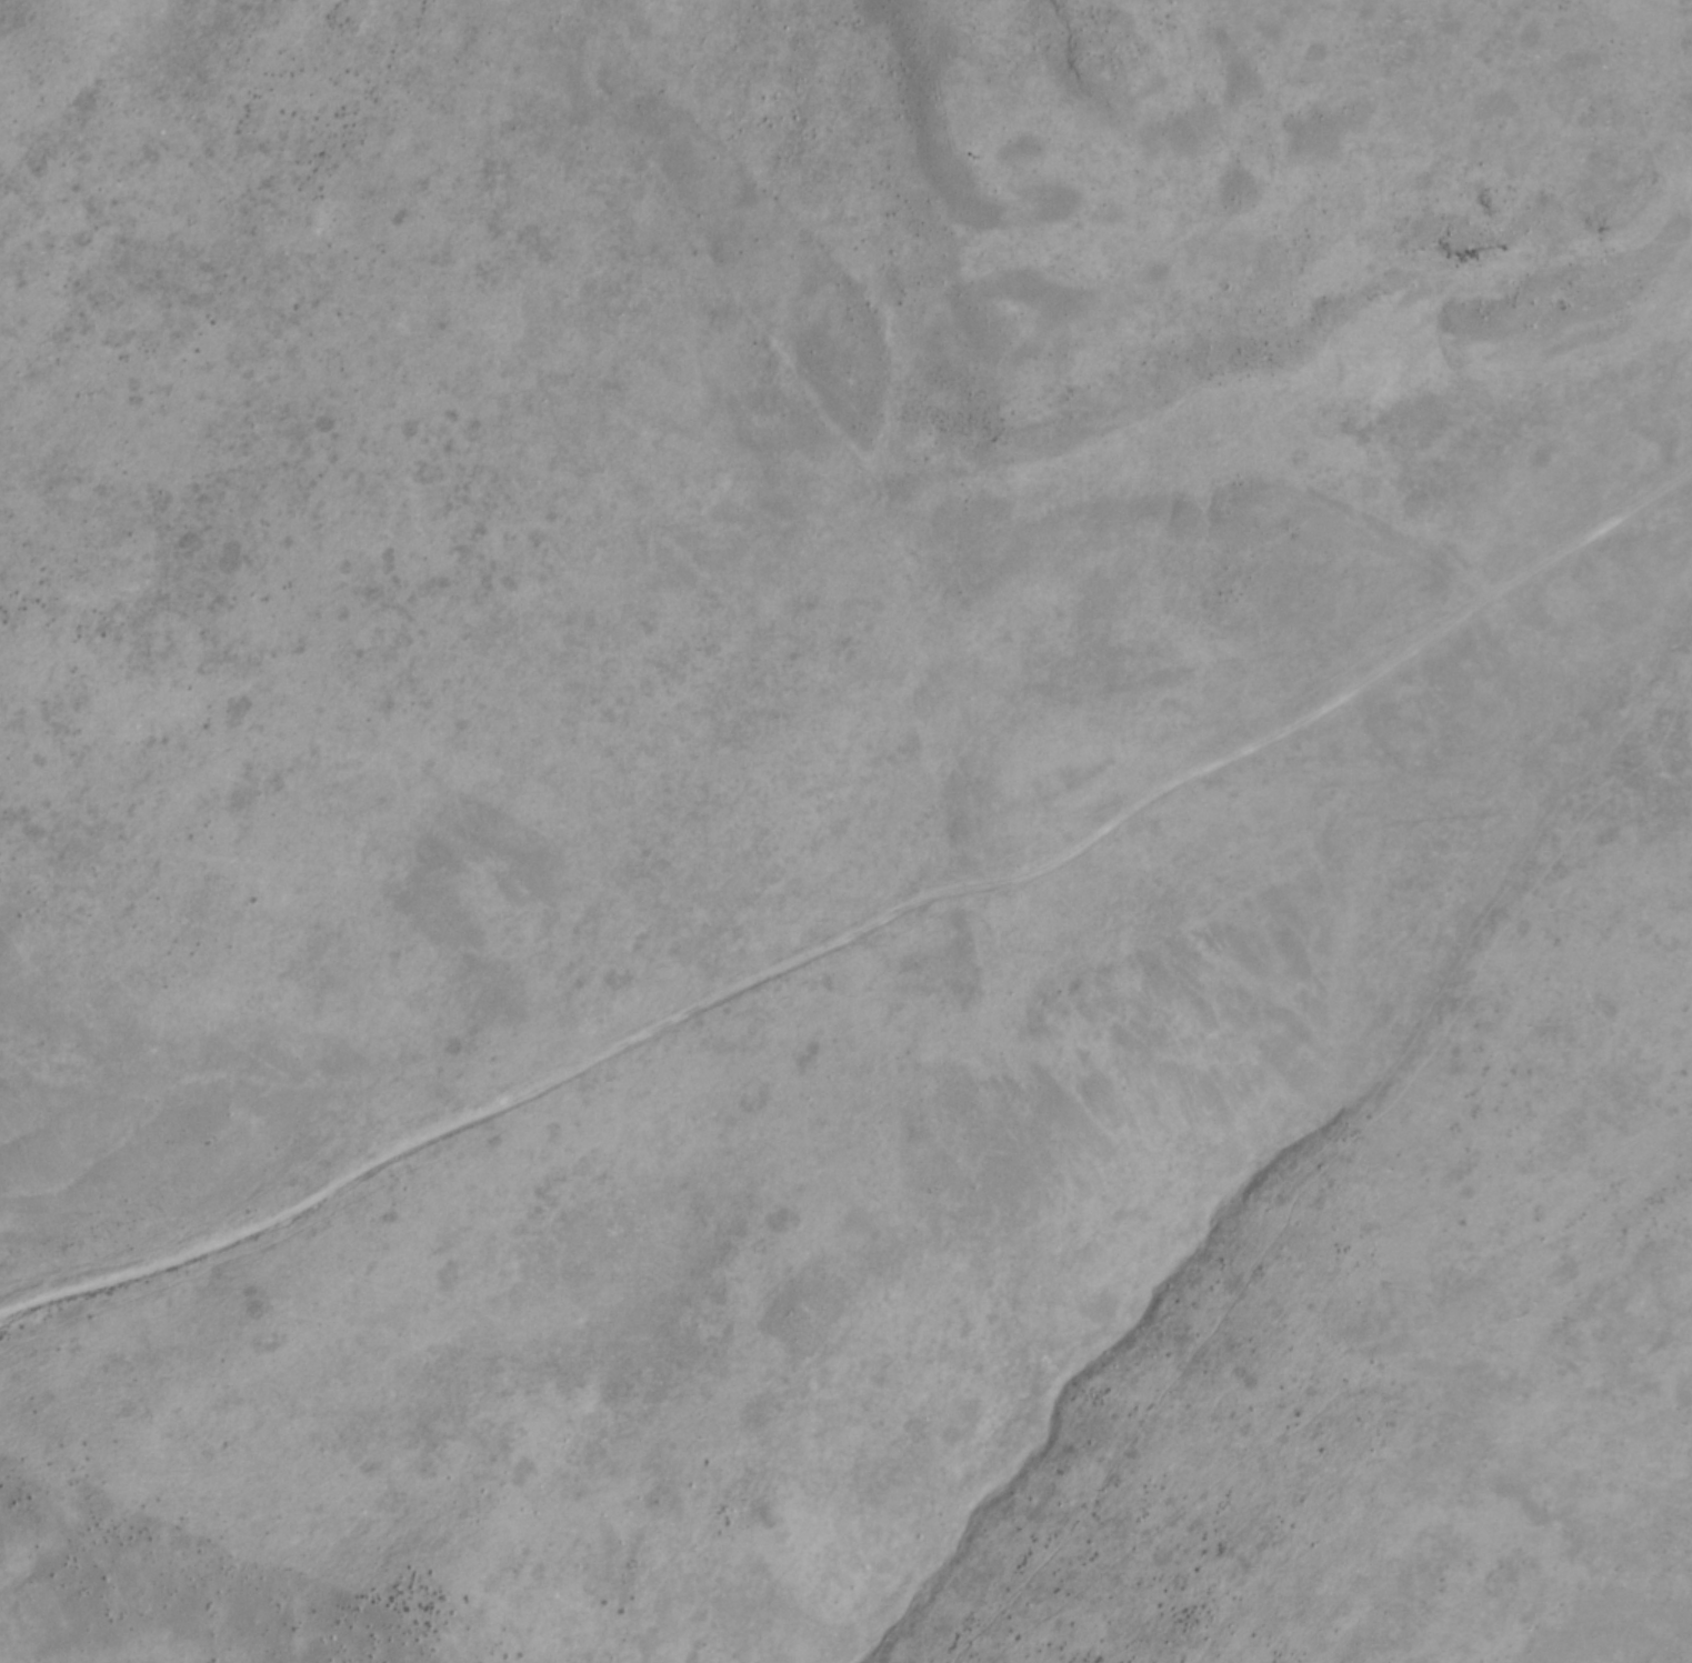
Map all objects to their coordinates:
road: (867, 924)

